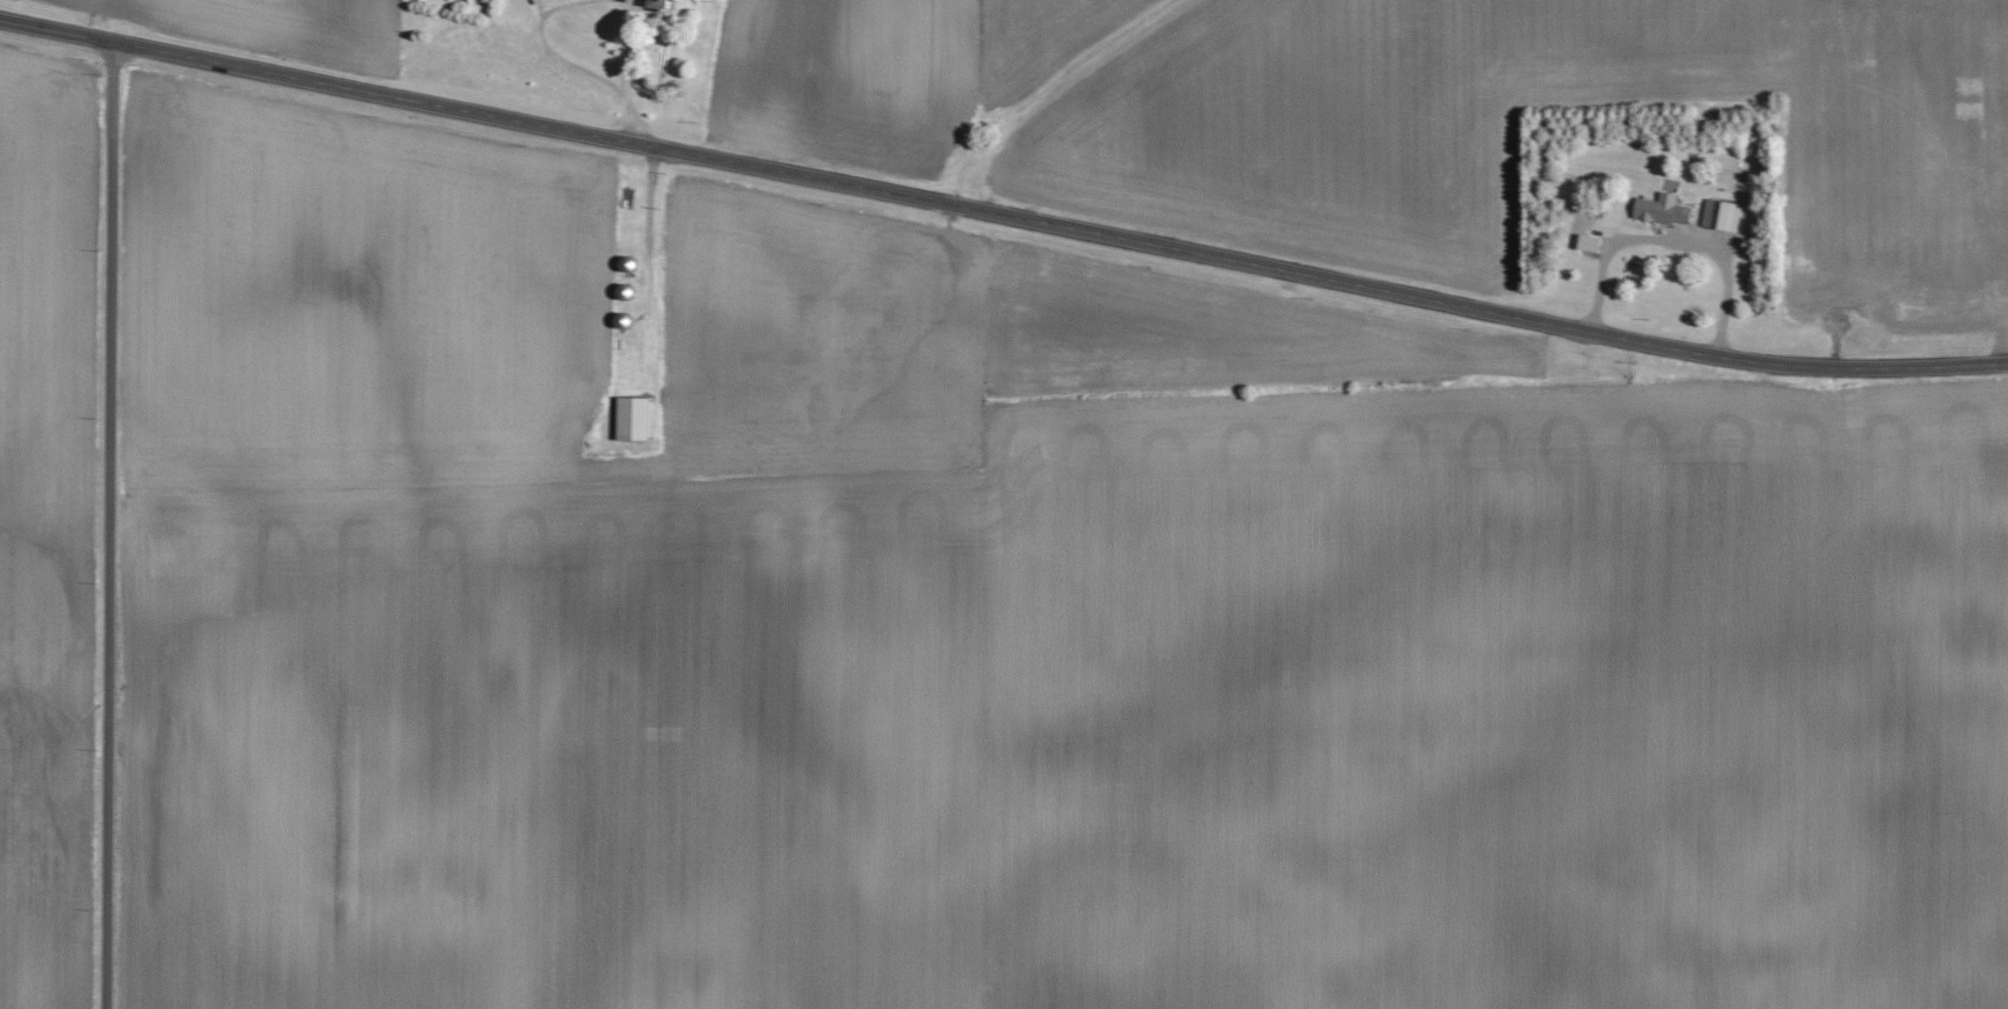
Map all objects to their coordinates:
building: (652, 3)
road: (626, 71)
building: (1660, 209)
road: (1001, 215)
building: (1720, 215)
road: (647, 235)
road: (1671, 241)
road: (111, 526)

